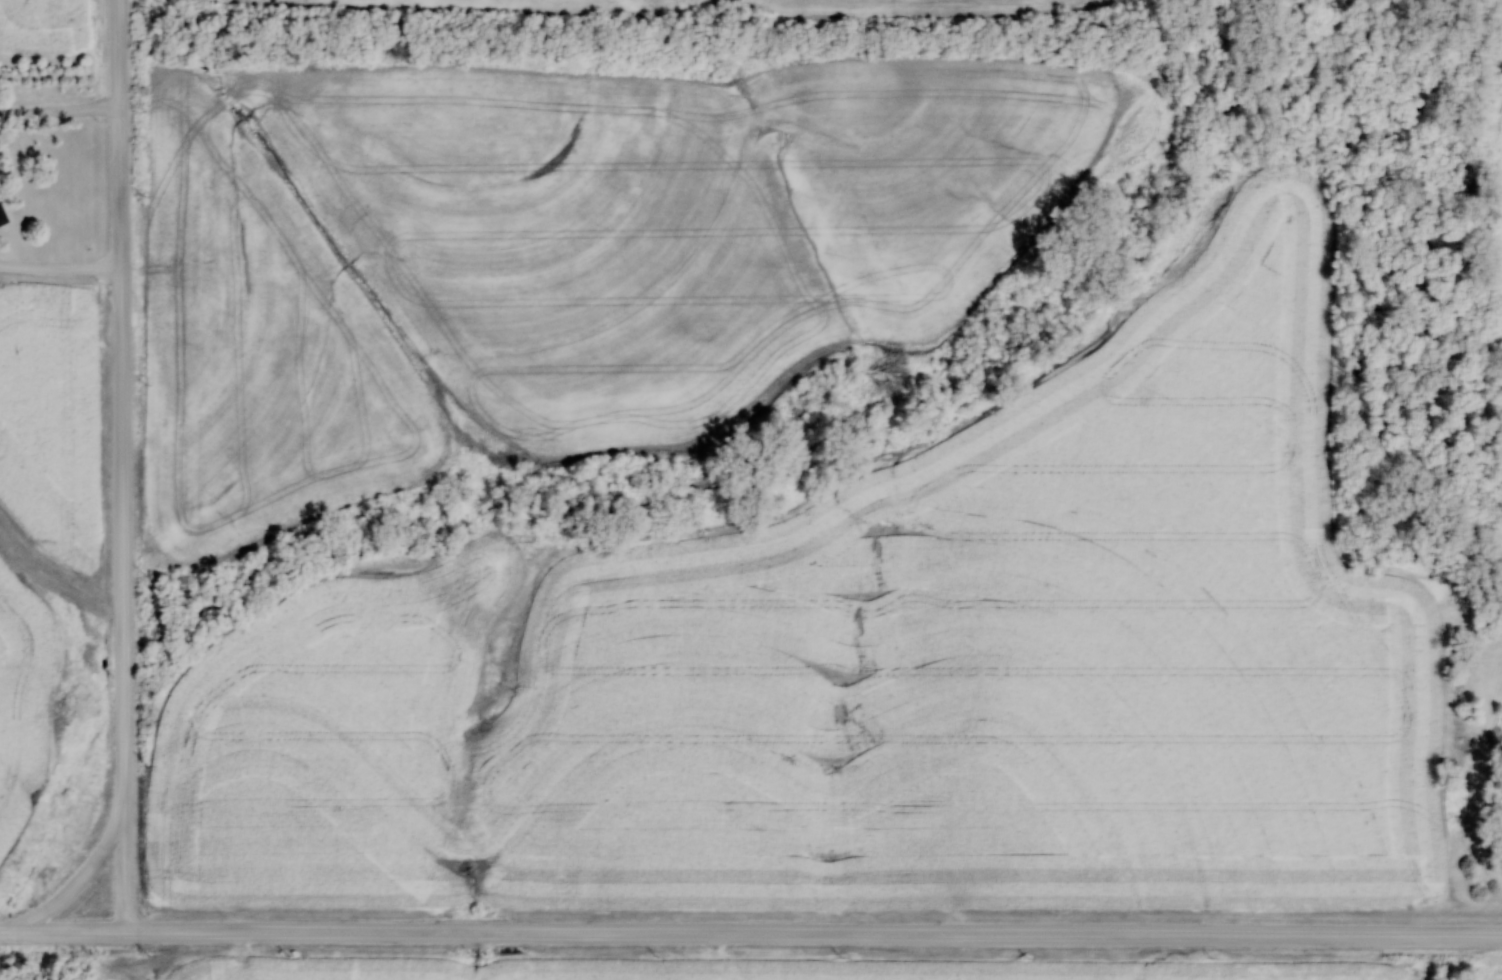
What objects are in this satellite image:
road: (60, 111)
building: (2, 217)
road: (60, 268)
road: (122, 492)
road: (124, 862)
road: (750, 934)

